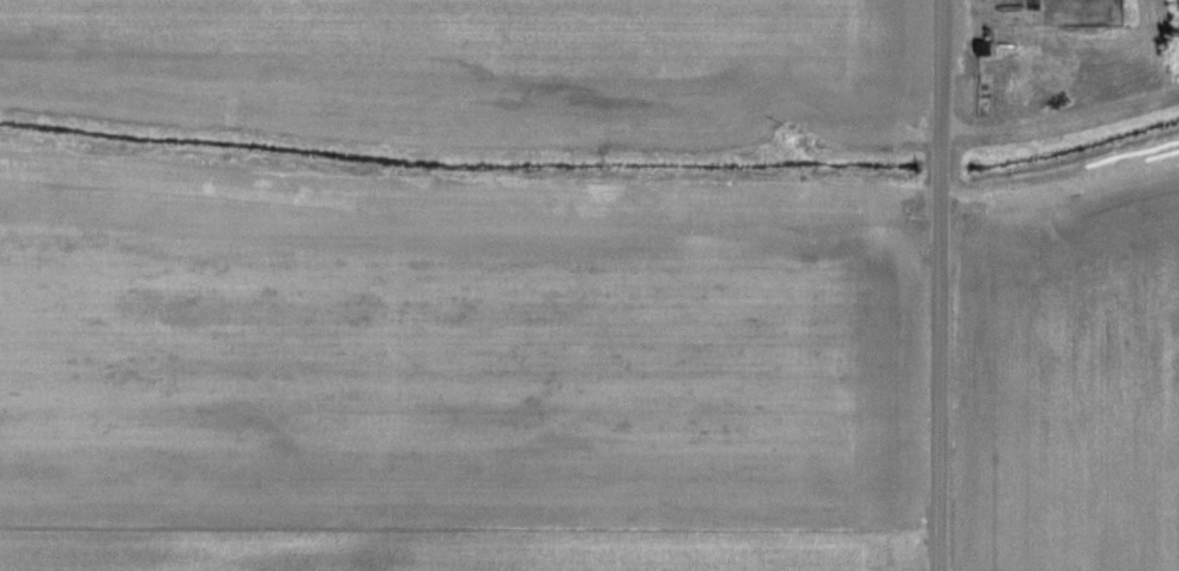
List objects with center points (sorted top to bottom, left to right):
building: (985, 48)
building: (981, 98)
road: (938, 285)

